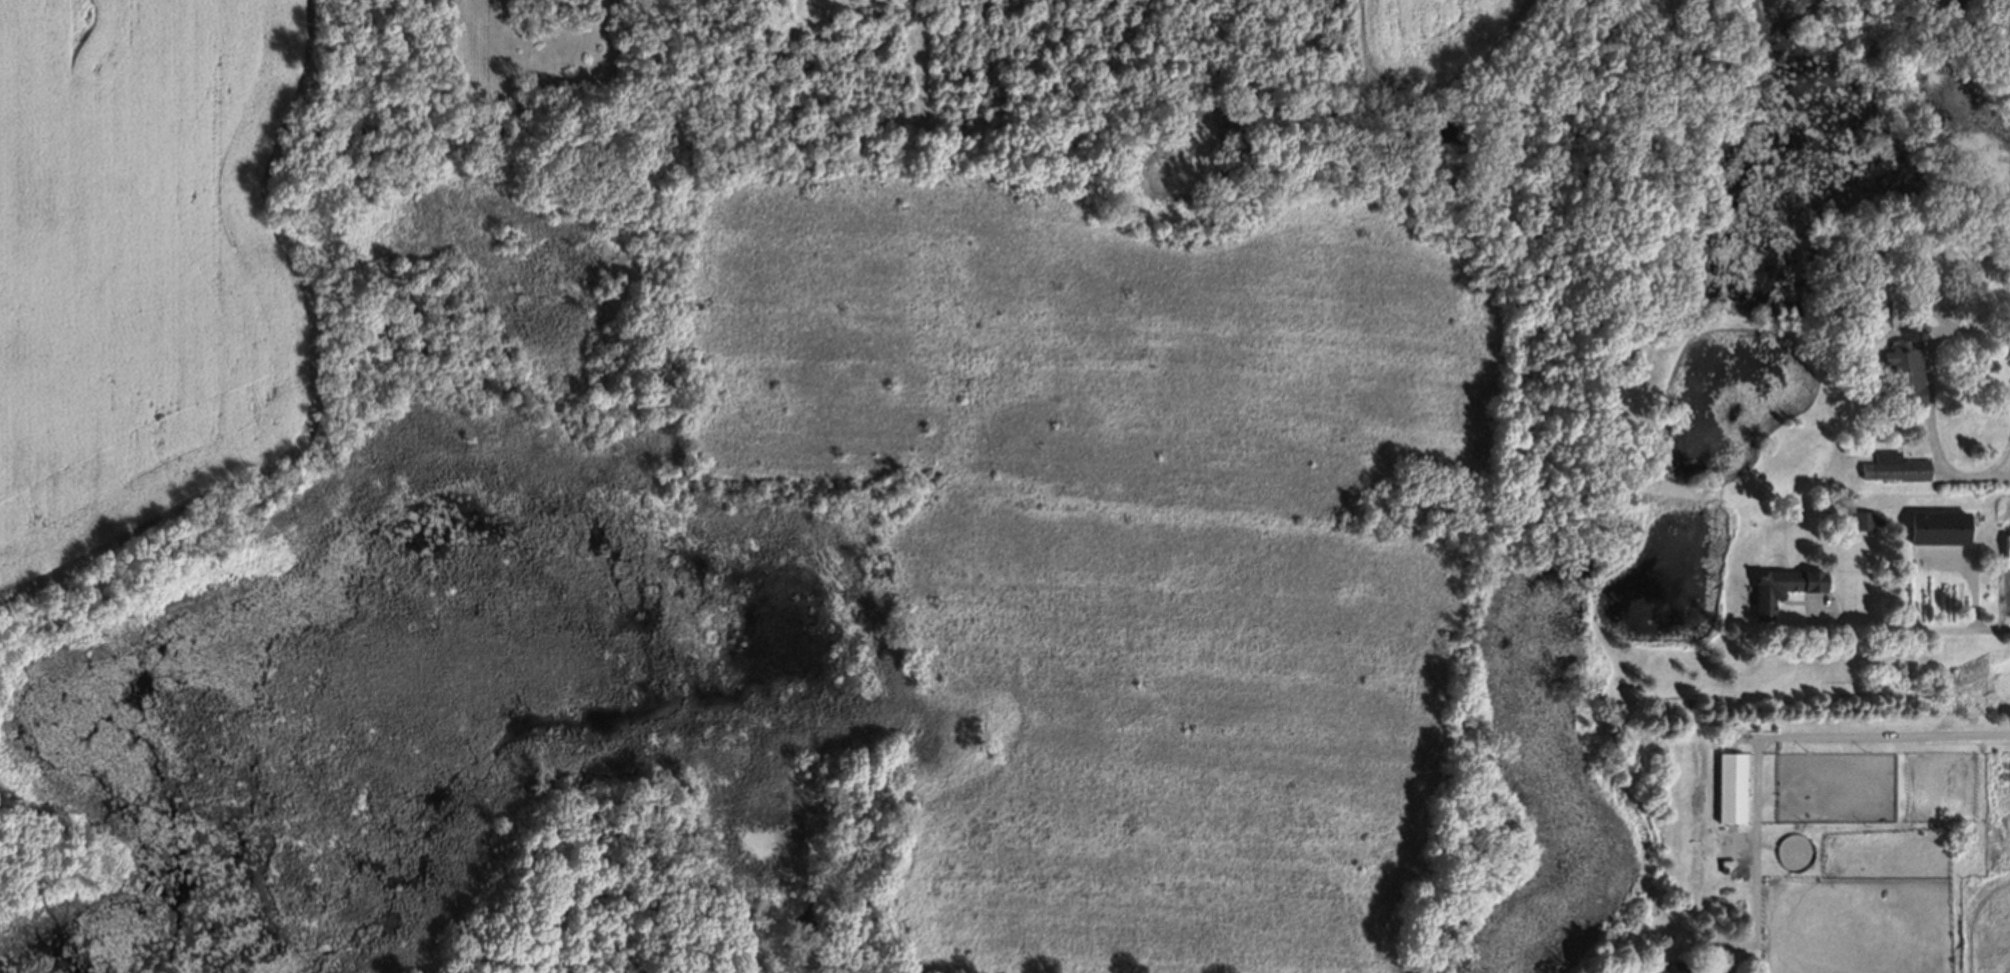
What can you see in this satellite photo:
building: (1938, 4)
building: (1883, 312)
building: (1907, 372)
road: (1931, 398)
building: (1896, 468)
building: (1863, 521)
building: (1939, 530)
building: (2008, 553)
building: (1783, 590)
road: (1922, 628)
road: (1787, 733)
building: (1732, 789)
building: (1679, 968)

